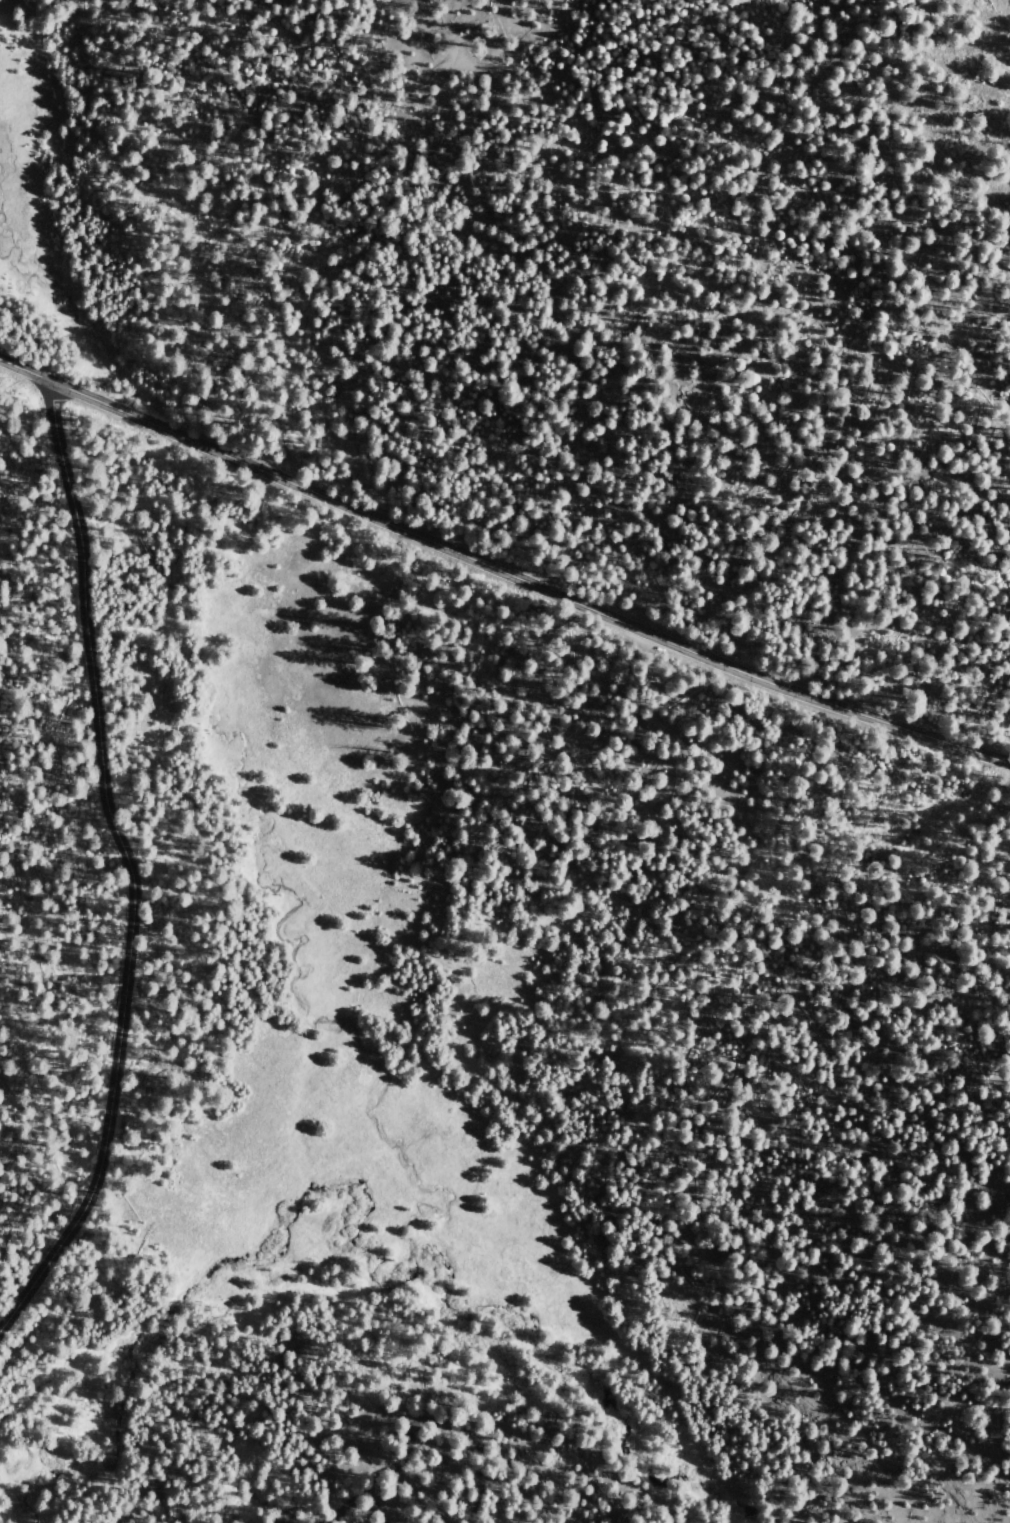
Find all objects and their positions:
road: (500, 568)
road: (125, 861)
building: (410, 1400)
road: (413, 1421)

